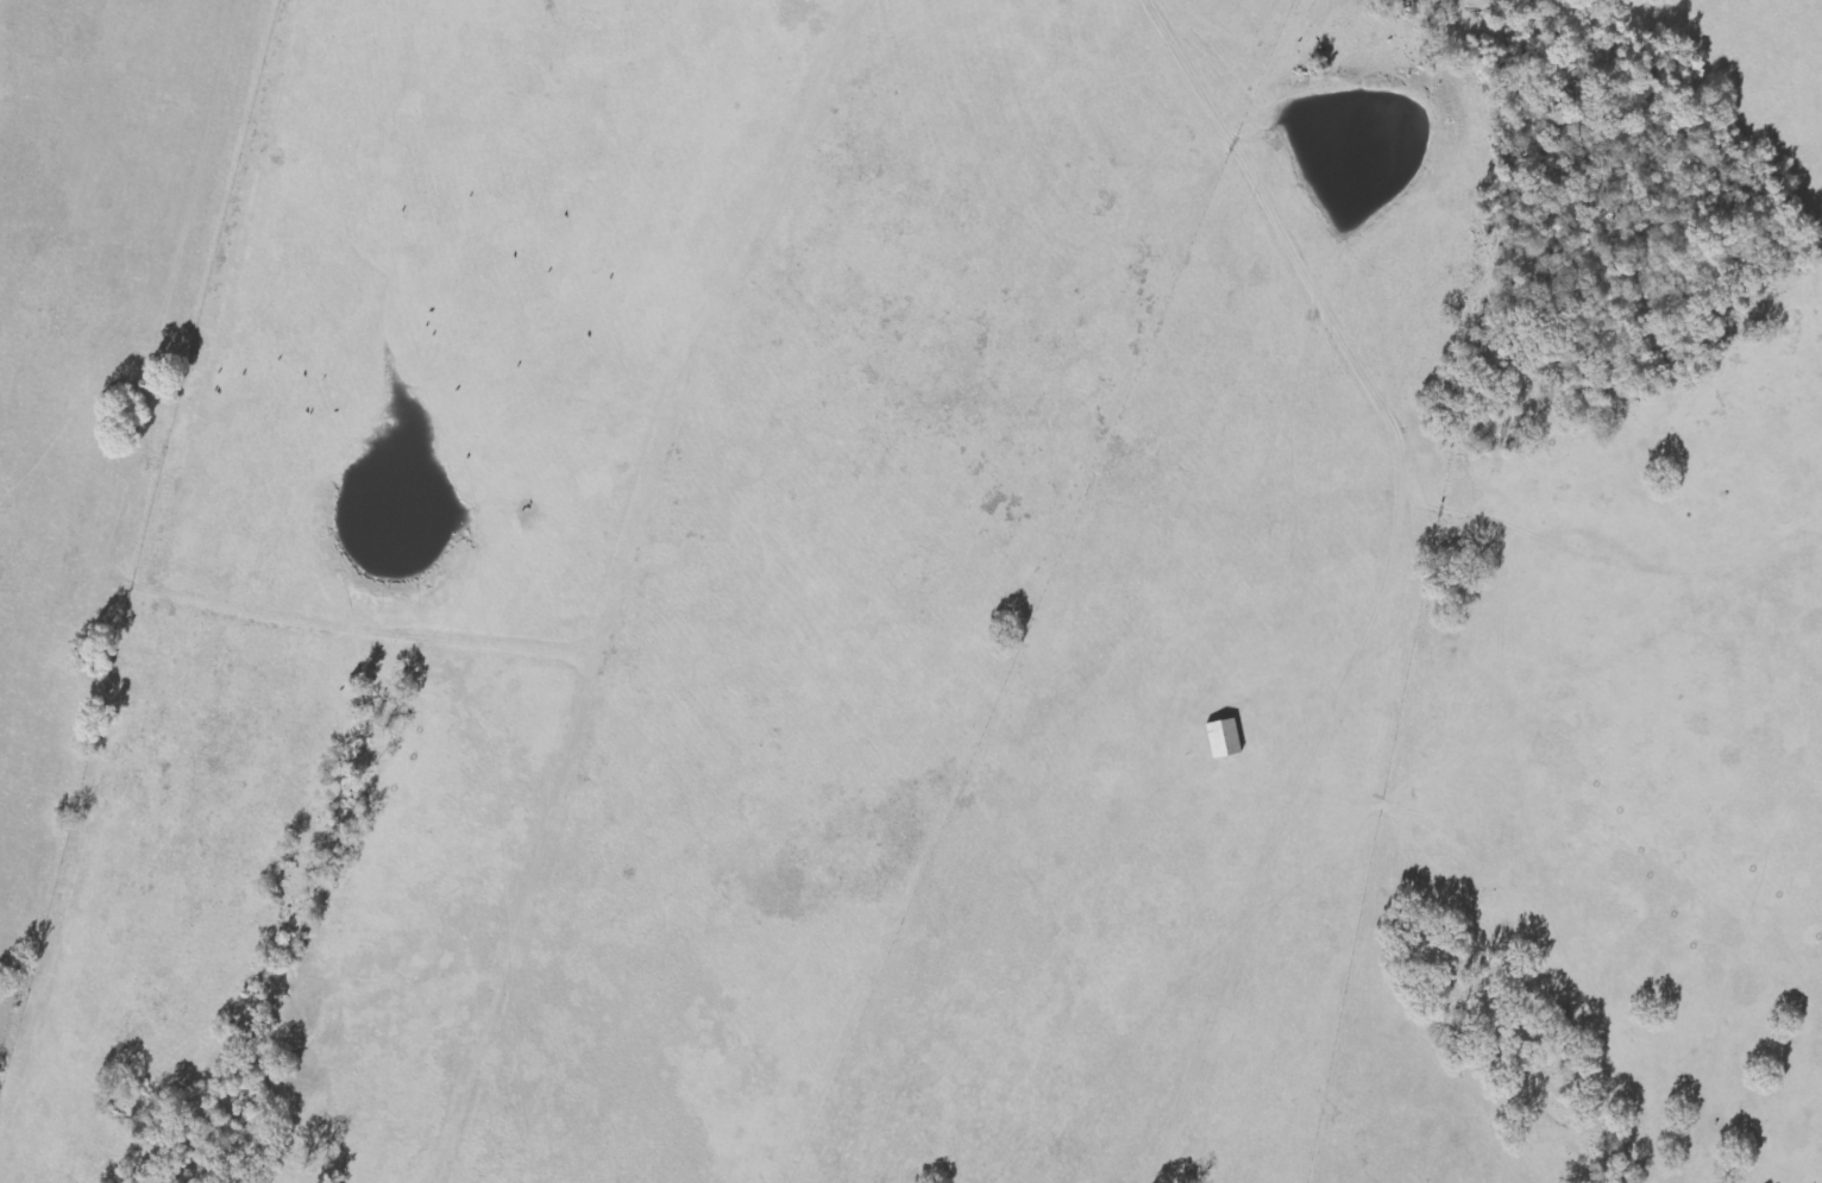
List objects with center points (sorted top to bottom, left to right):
dam: (384, 586)
building: (1220, 738)

